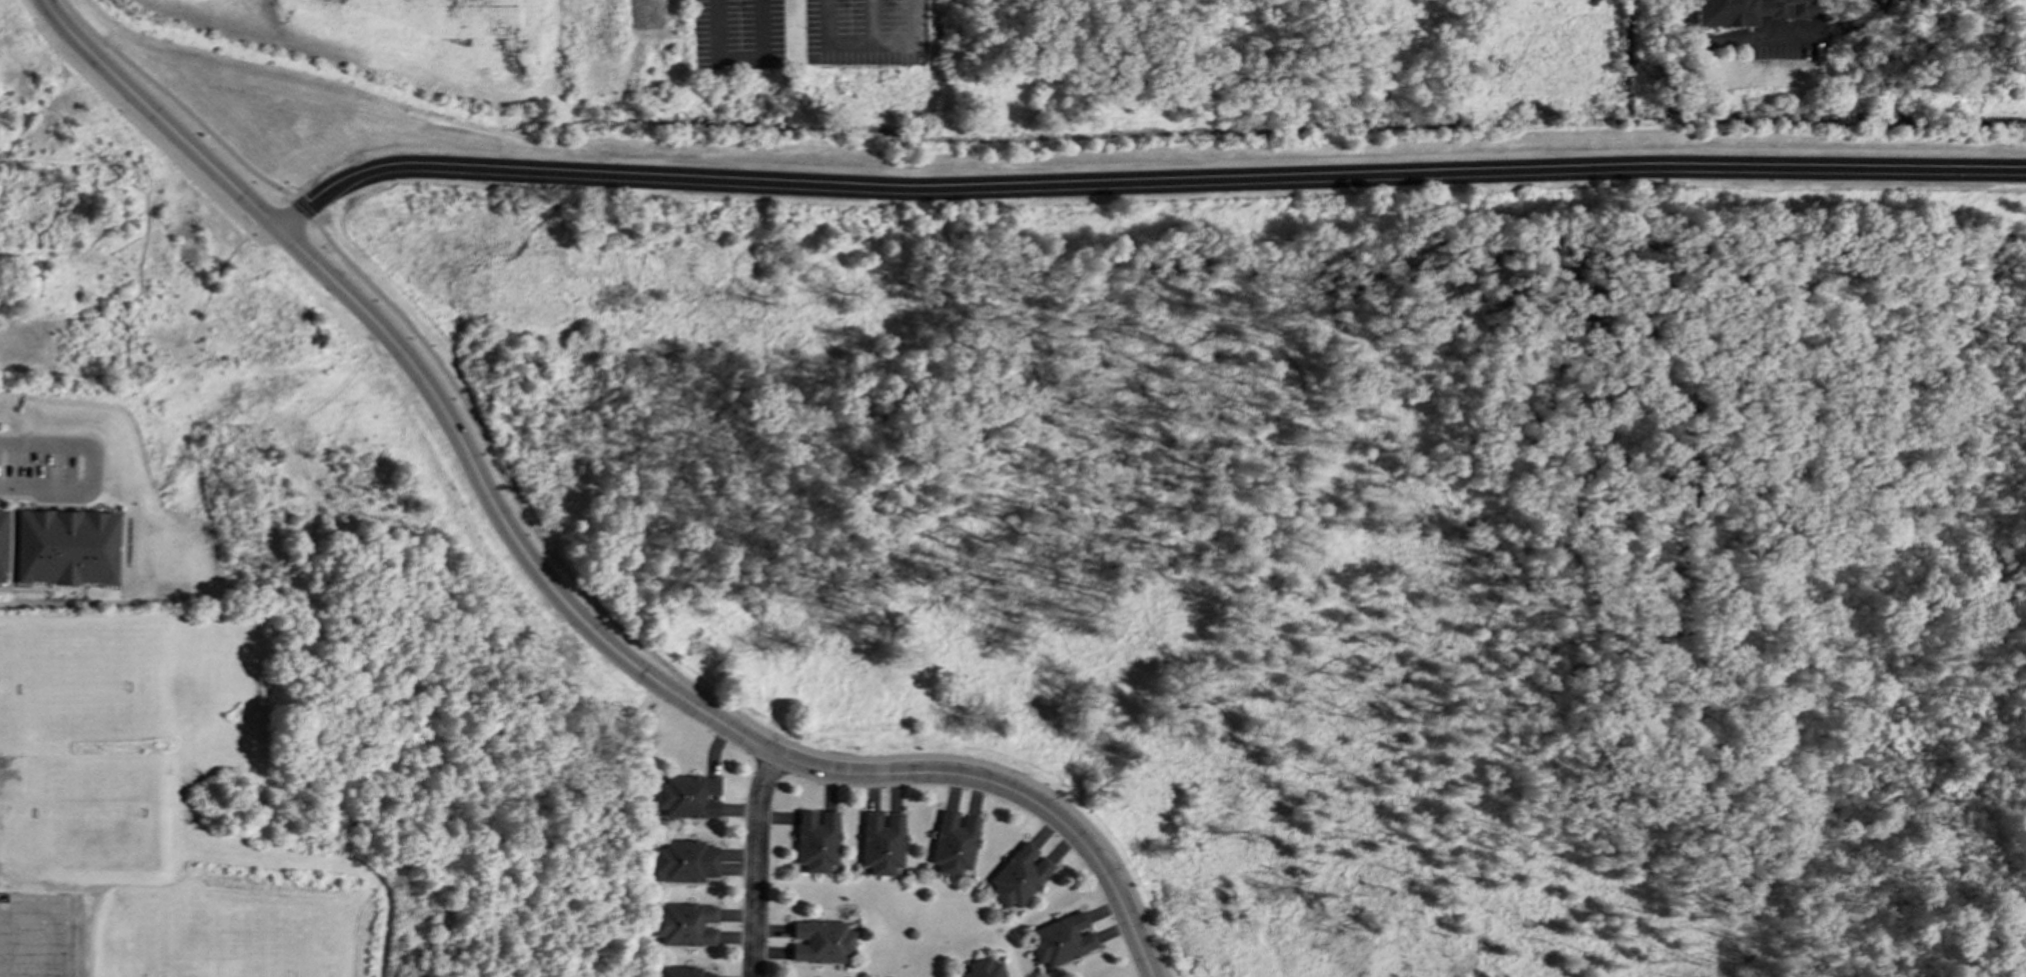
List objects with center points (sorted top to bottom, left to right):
building: (1751, 11)
road: (871, 22)
road: (1775, 34)
crop: (400, 40)
road: (872, 44)
road: (740, 61)
road: (176, 102)
road: (1141, 187)
road: (305, 205)
road: (419, 375)
road: (11, 461)
building: (2, 543)
building: (66, 546)
road: (691, 683)
road: (1010, 790)
building: (687, 796)
building: (814, 840)
building: (879, 842)
building: (951, 842)
building: (684, 860)
road: (755, 864)
building: (1017, 875)
building: (683, 924)
building: (1060, 939)
building: (820, 941)
building: (982, 968)
building: (680, 972)

